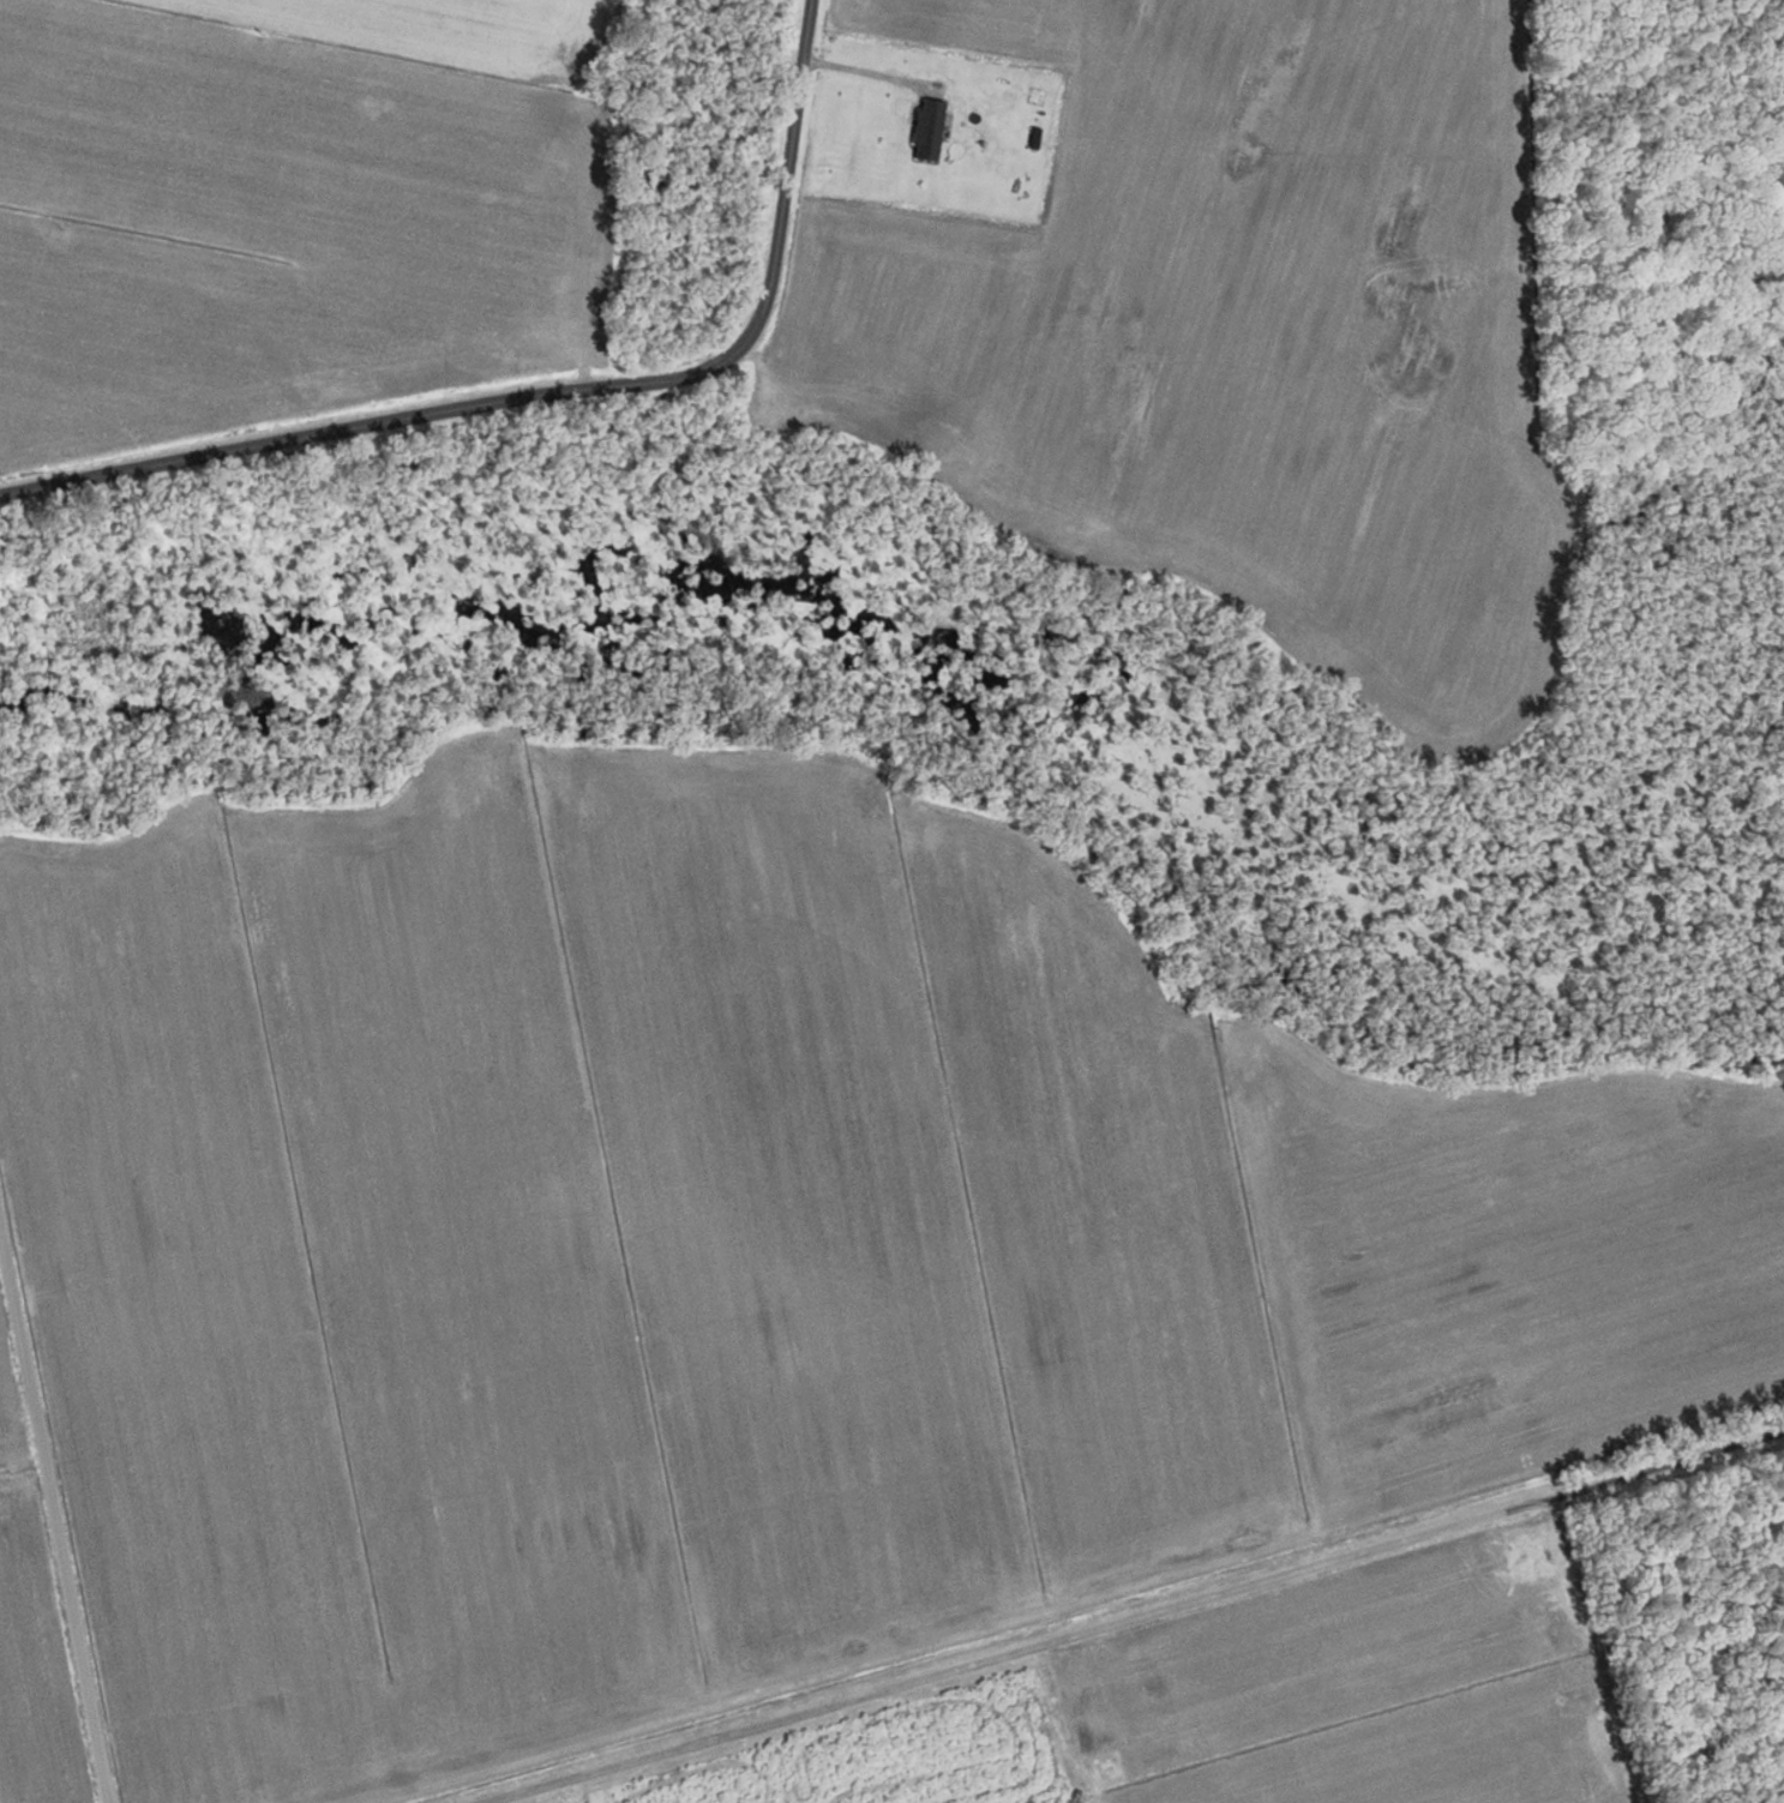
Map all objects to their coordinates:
road: (855, 72)
building: (899, 125)
road: (545, 403)
road: (1666, 1466)
road: (48, 1555)
road: (1170, 1607)

